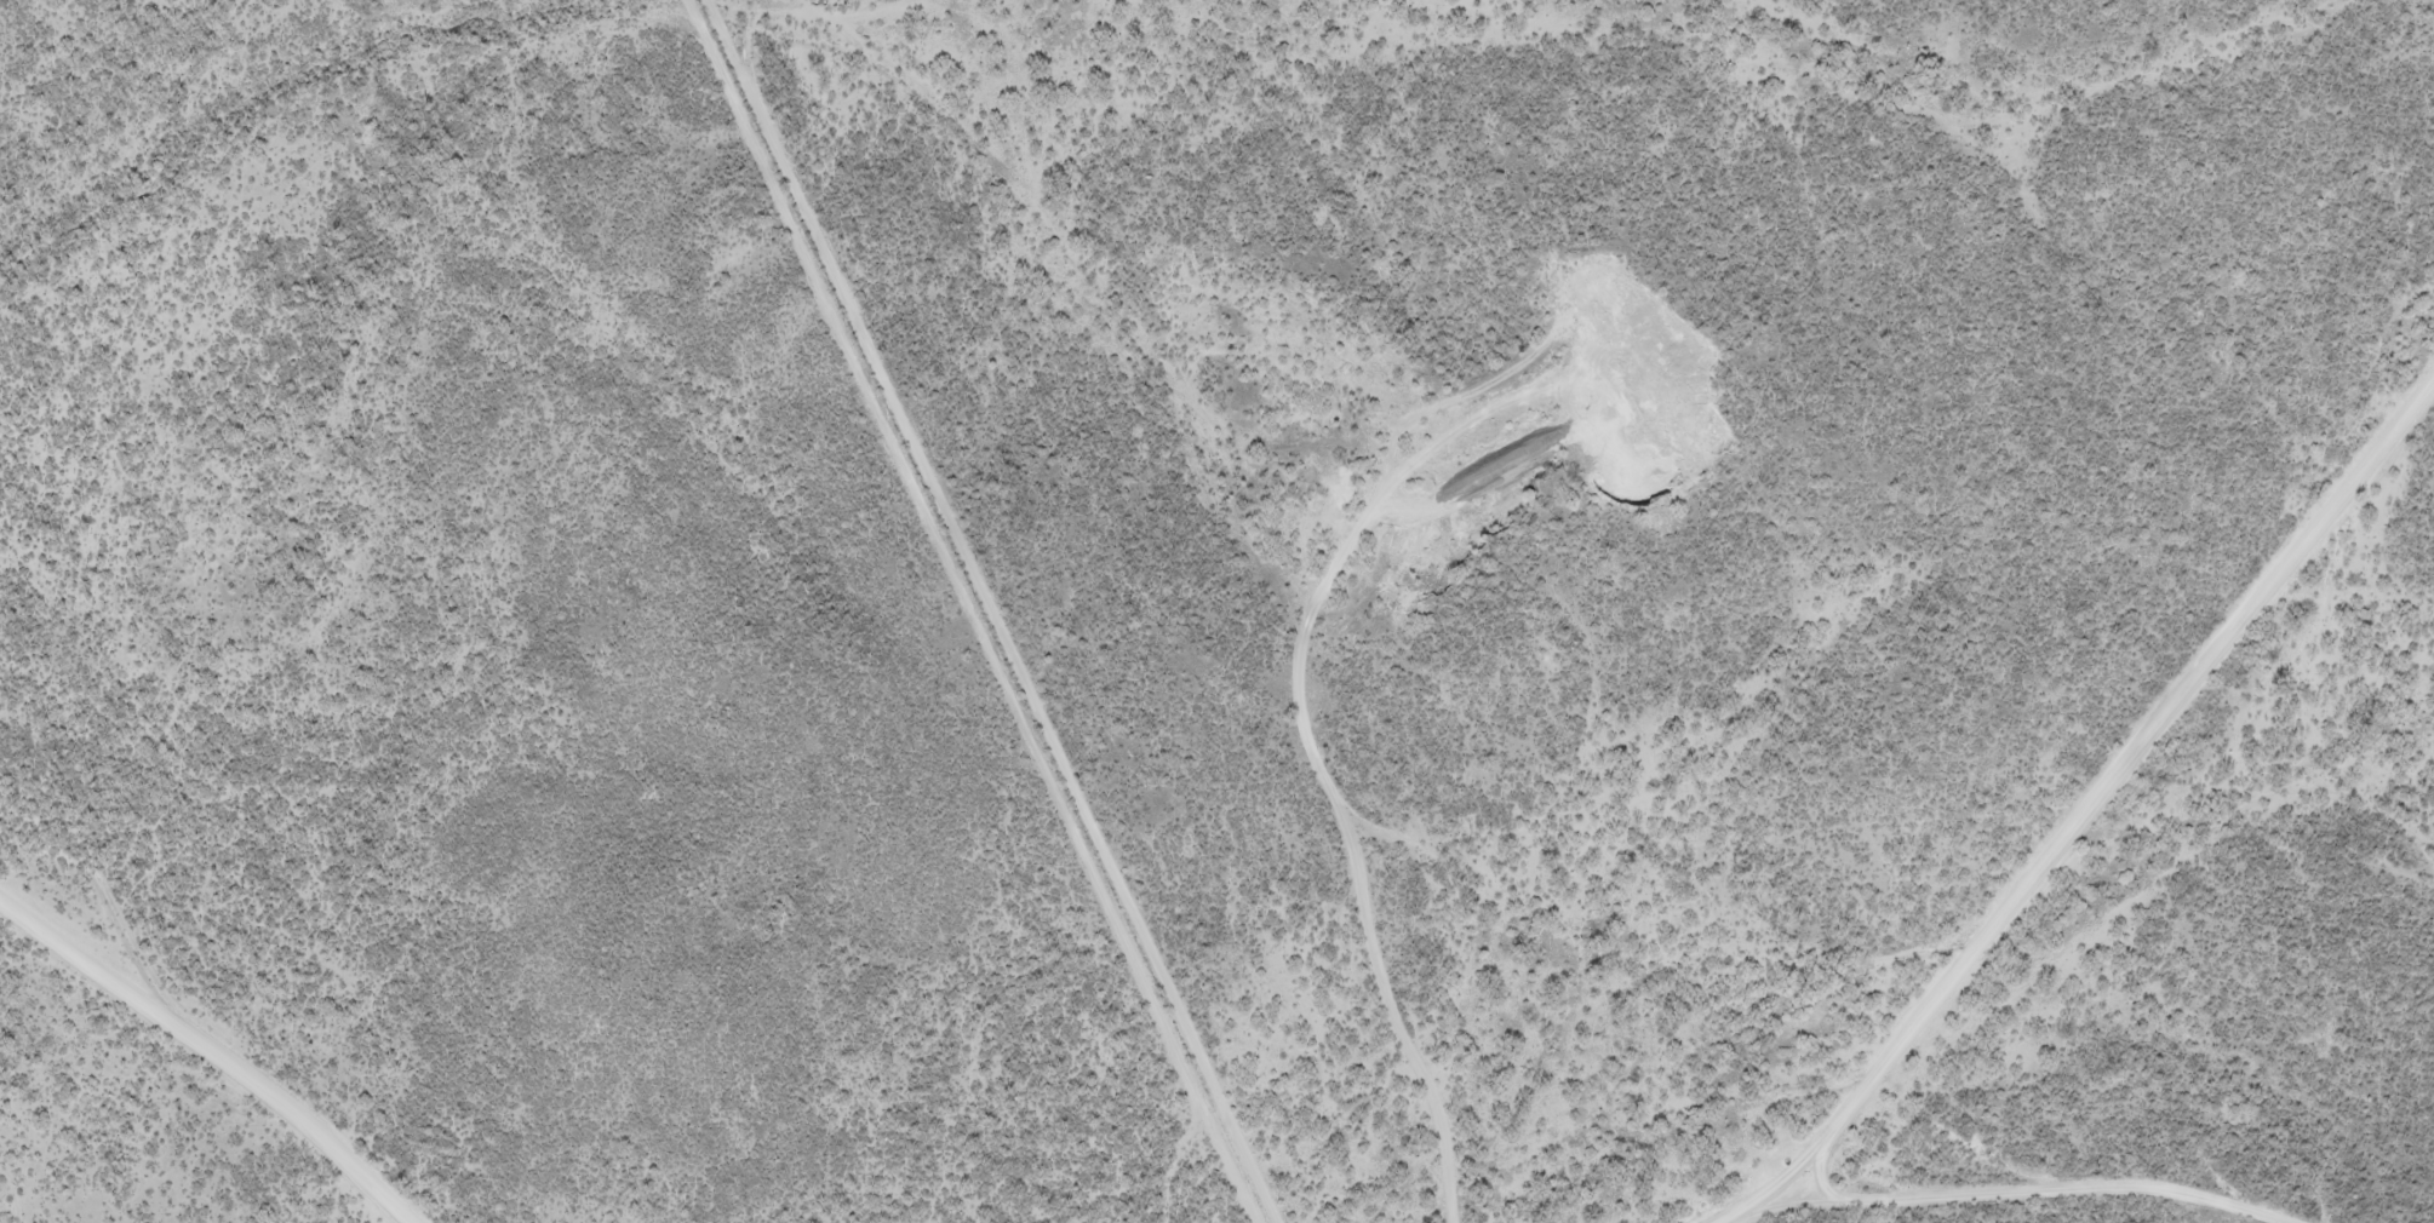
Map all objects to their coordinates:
road: (1002, 611)
road: (2092, 799)
road: (216, 1050)
road: (2045, 1185)

